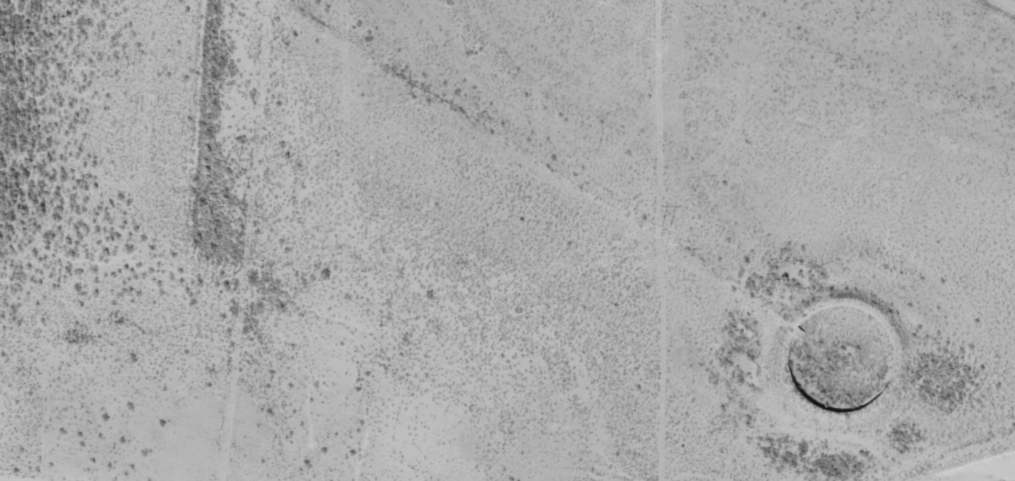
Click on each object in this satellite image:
road: (1002, 6)
power tower: (665, 224)

